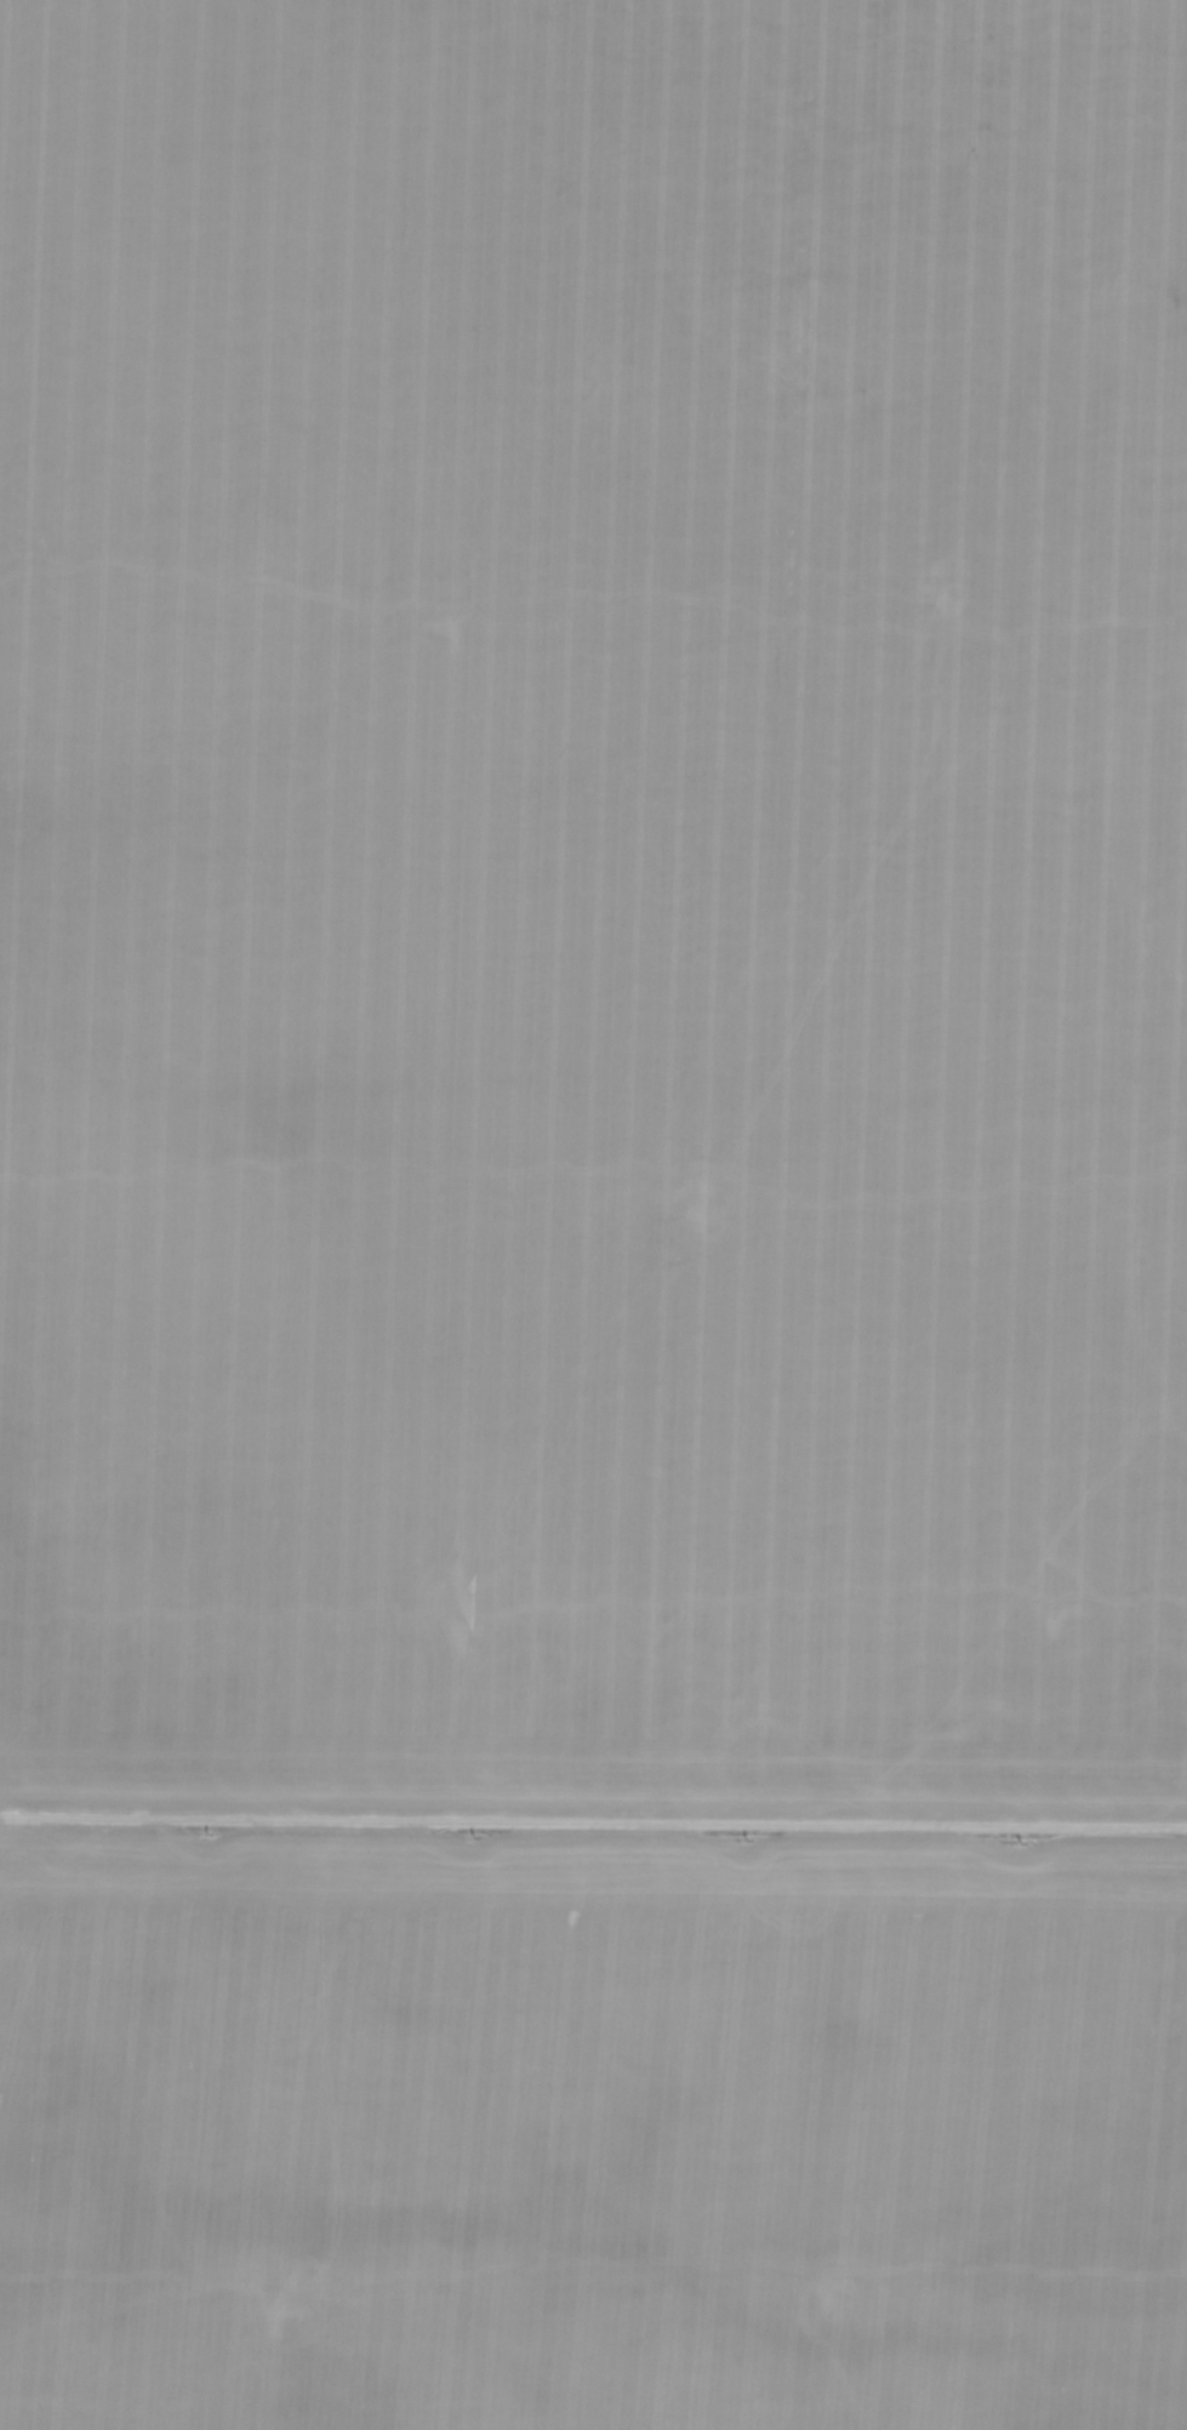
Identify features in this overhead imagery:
road: (593, 1812)

